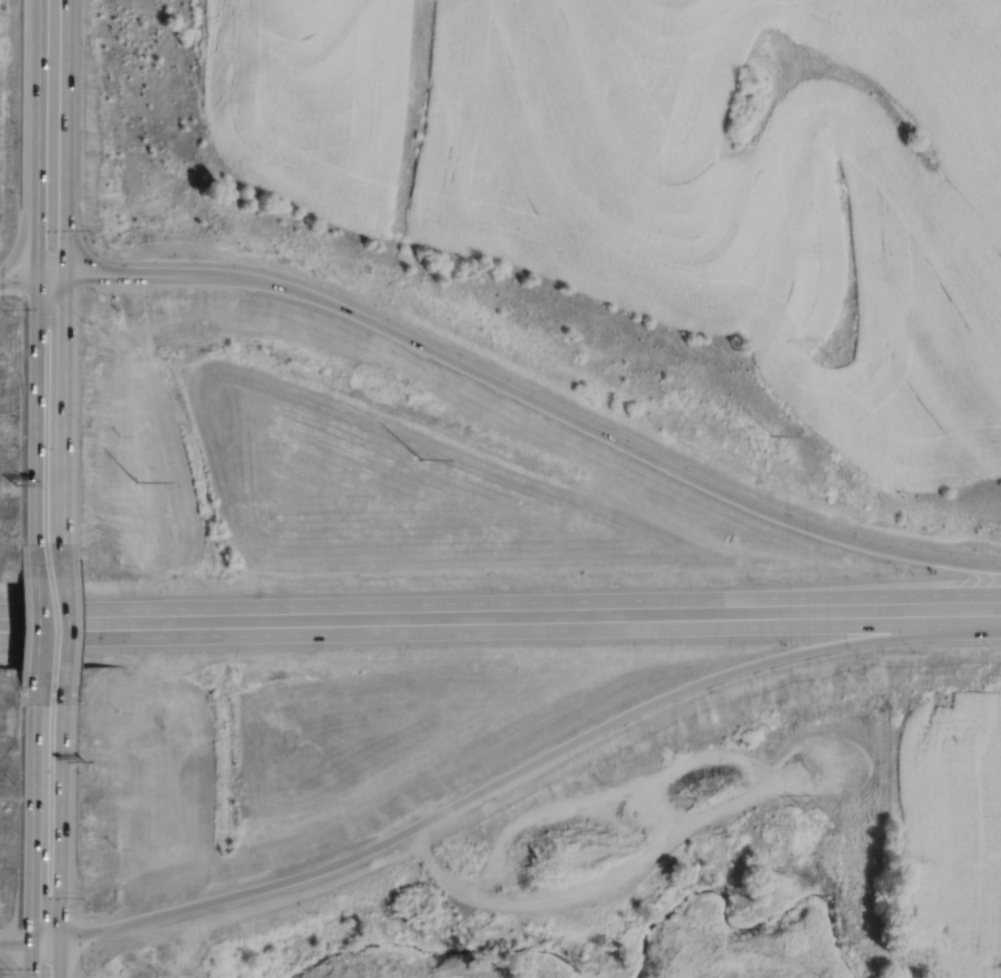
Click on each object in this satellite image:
road: (39, 9)
street lamp: (11, 102)
road: (65, 136)
road: (37, 146)
crop: (671, 178)
street lamp: (10, 191)
street lamp: (93, 235)
traffic signals: (65, 273)
road: (147, 273)
road: (51, 274)
traffic signals: (37, 275)
road: (18, 278)
street lamp: (7, 315)
street lamp: (82, 321)
power tower: (821, 360)
road: (64, 391)
road: (35, 418)
street lamp: (81, 423)
road: (610, 437)
power tower: (770, 437)
power tower: (415, 461)
power tower: (136, 483)
road: (63, 535)
street lamp: (974, 548)
street lamp: (898, 570)
road: (888, 595)
road: (388, 603)
road: (61, 621)
road: (33, 622)
road: (854, 624)
road: (353, 632)
street lamp: (782, 642)
street lamp: (989, 647)
street lamp: (912, 651)
street lamp: (859, 657)
road: (554, 752)
road: (746, 770)
street lamp: (12, 782)
road: (559, 803)
road: (661, 808)
road: (59, 811)
road: (32, 814)
power tower: (823, 821)
crop: (946, 830)
street lamp: (11, 871)
road: (485, 882)
road: (506, 884)
street lamp: (87, 903)
road: (533, 905)
road: (90, 932)
traffic signals: (58, 940)
road: (44, 942)
road: (15, 944)
traffic signals: (31, 944)
road: (58, 959)
road: (30, 961)
street lamp: (1, 973)

